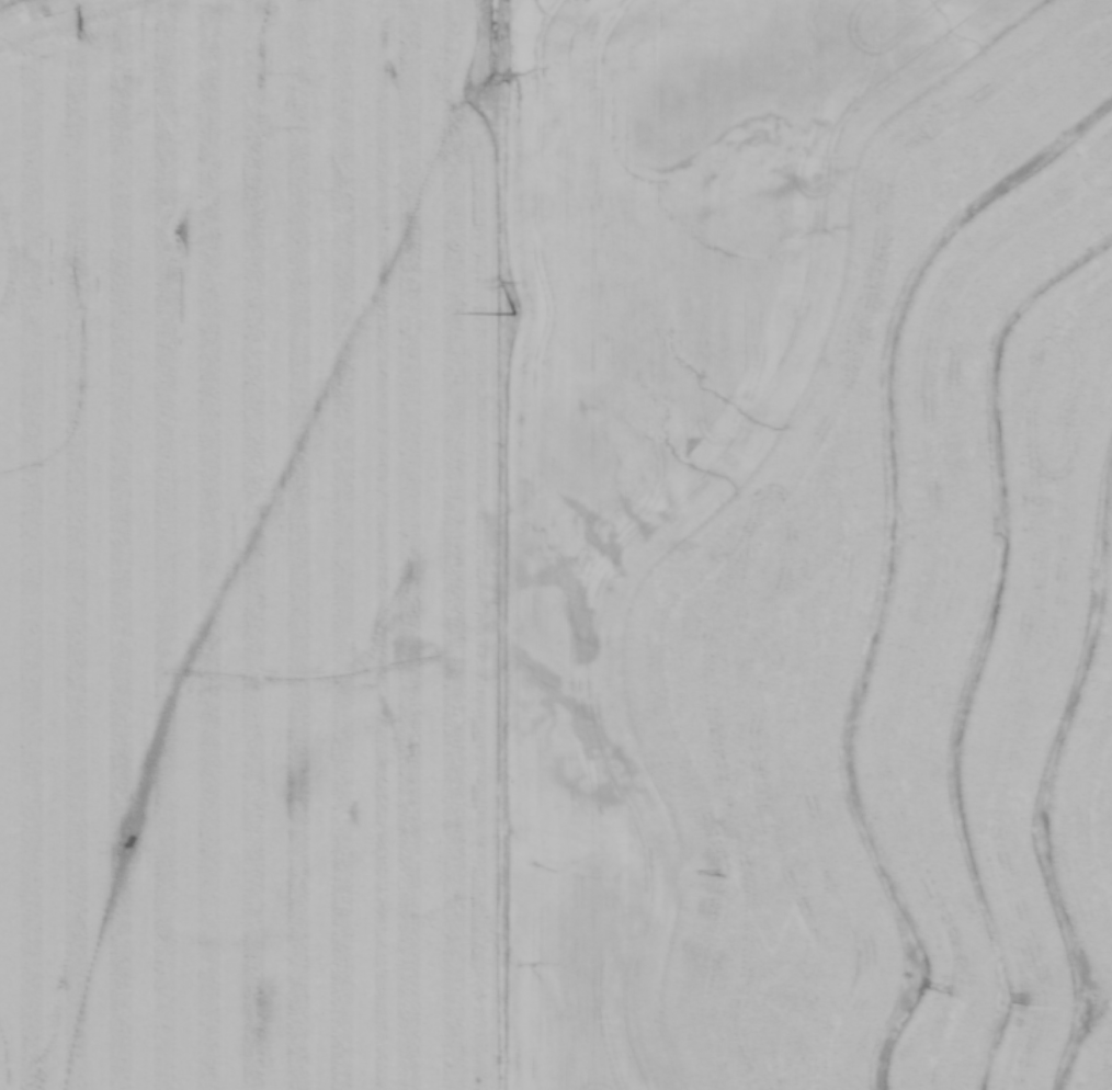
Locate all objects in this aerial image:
power tower: (515, 314)

